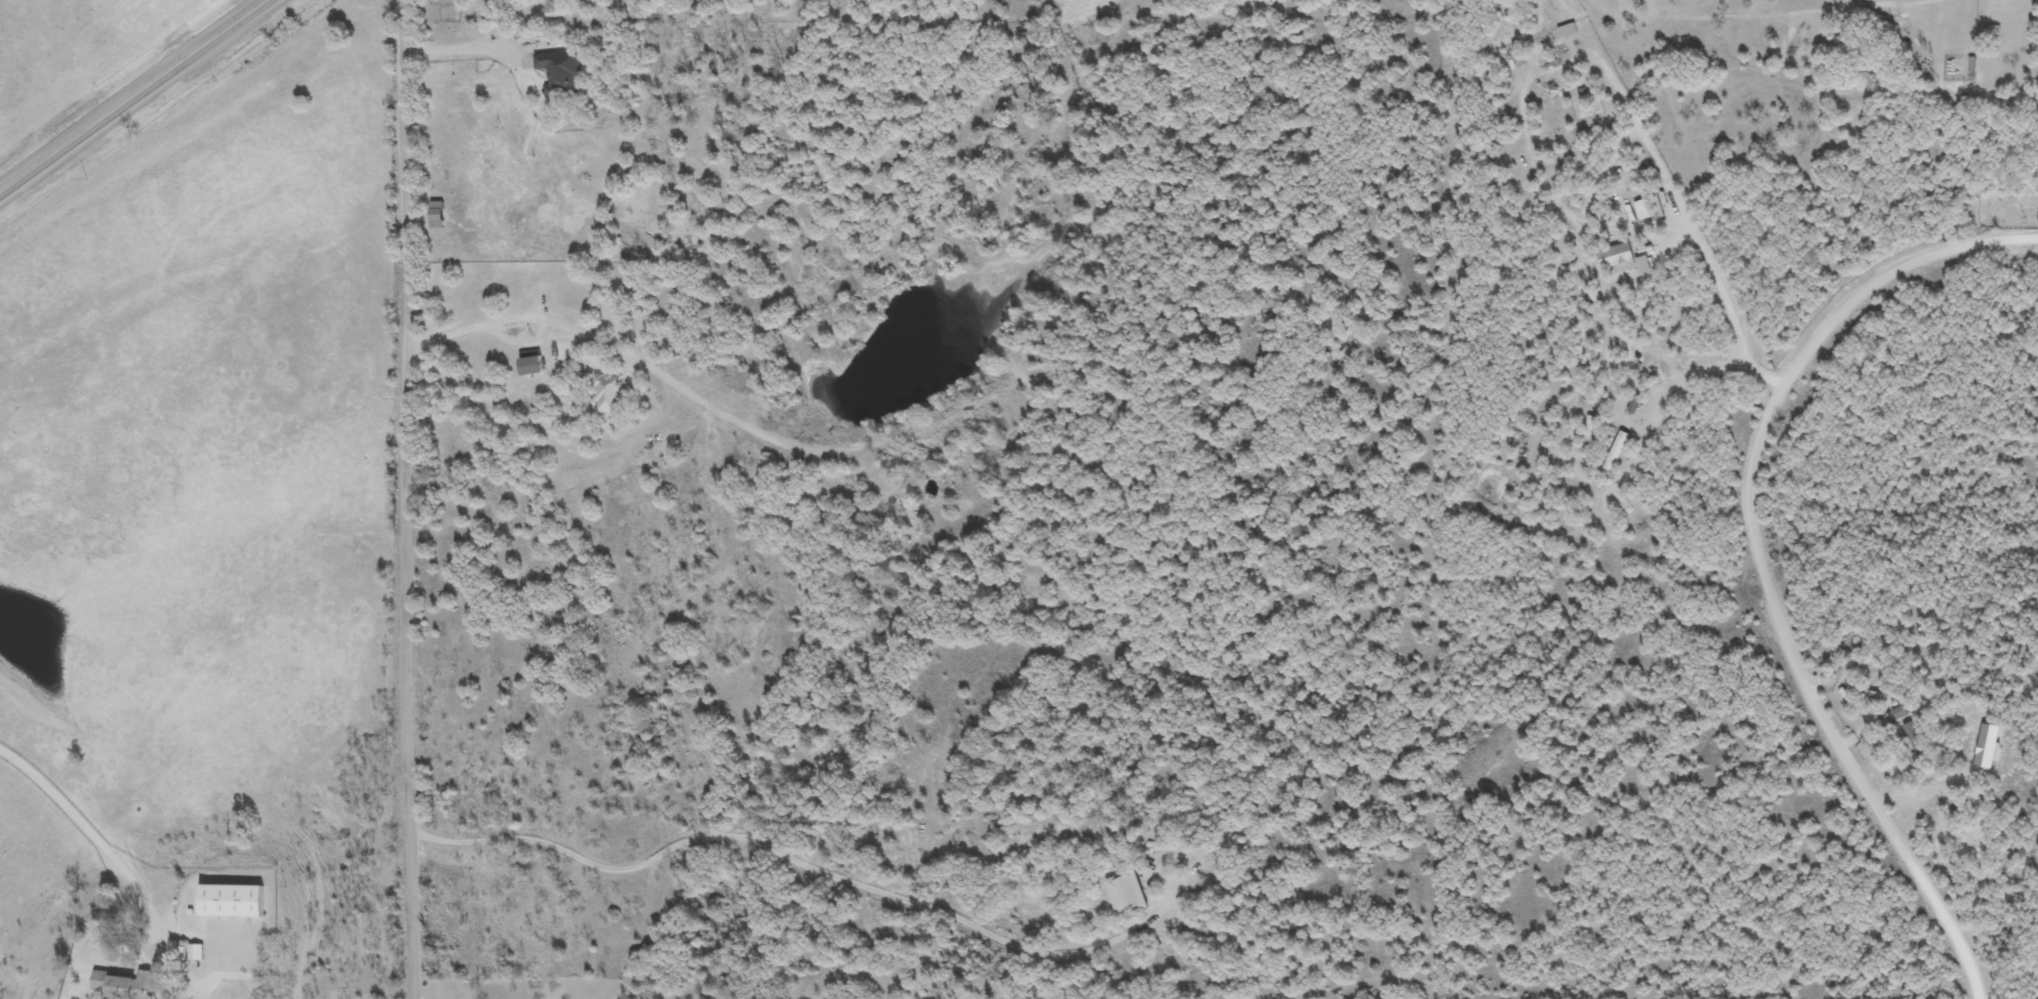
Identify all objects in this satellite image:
building: (560, 73)
road: (134, 97)
building: (435, 166)
road: (1707, 264)
building: (563, 270)
road: (520, 319)
building: (531, 363)
road: (1705, 374)
road: (1765, 378)
building: (606, 393)
building: (1634, 404)
building: (1588, 428)
building: (1616, 450)
road: (406, 499)
road: (1761, 555)
building: (1898, 712)
building: (1914, 741)
road: (94, 831)
building: (1144, 845)
road: (859, 886)
building: (1125, 888)
building: (232, 901)
building: (196, 951)
building: (126, 985)

